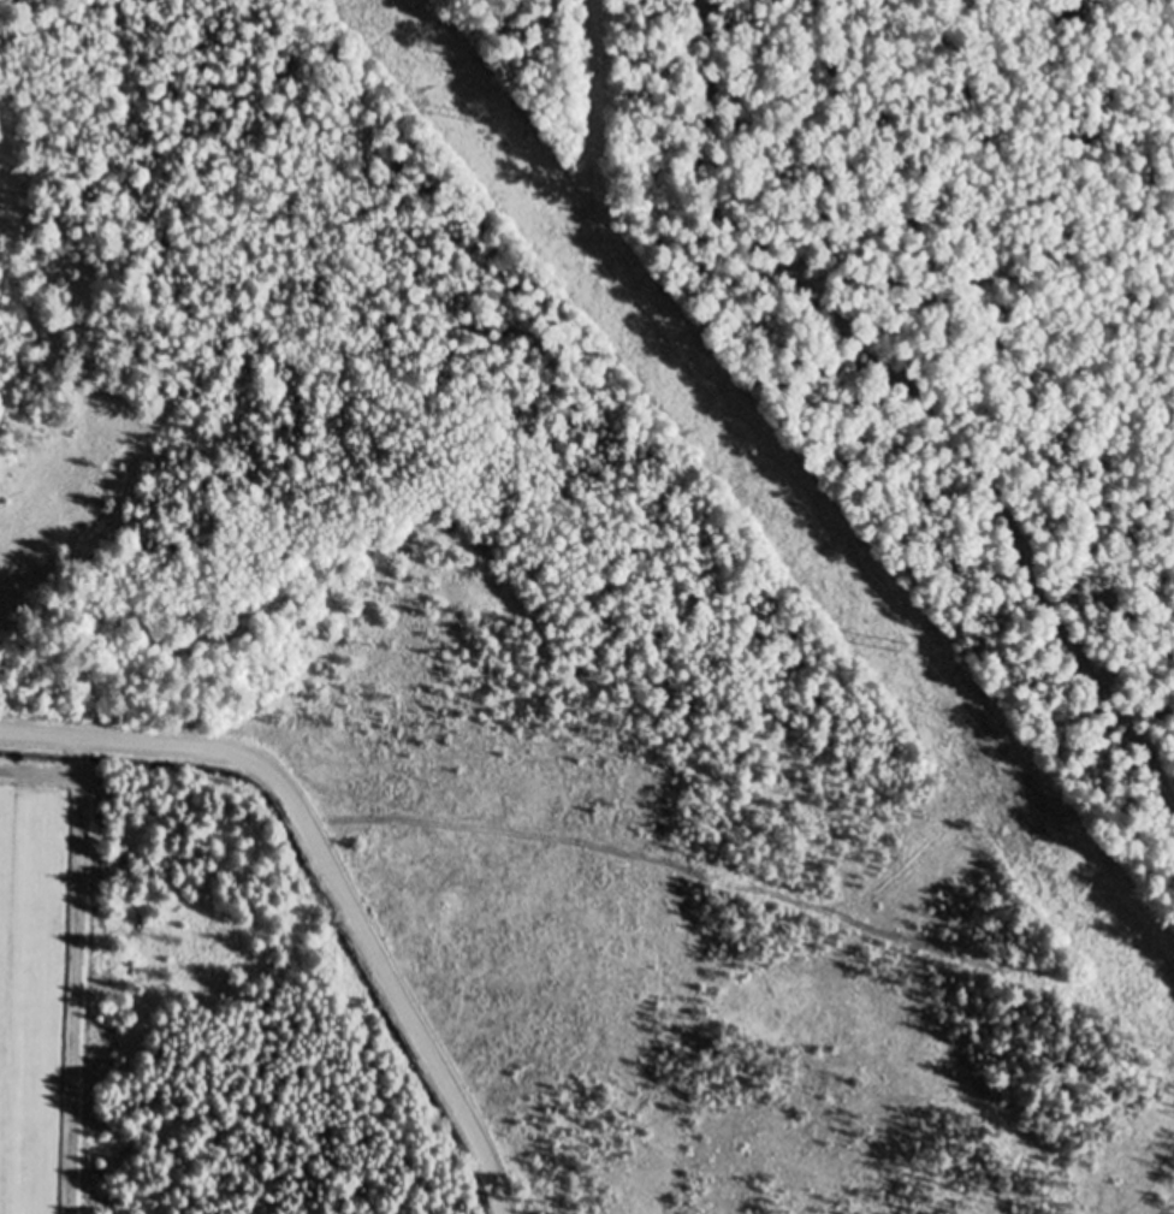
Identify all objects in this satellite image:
power tower: (472, 116)
road: (1001, 354)
power tower: (907, 646)
road: (325, 869)
crop: (32, 993)

